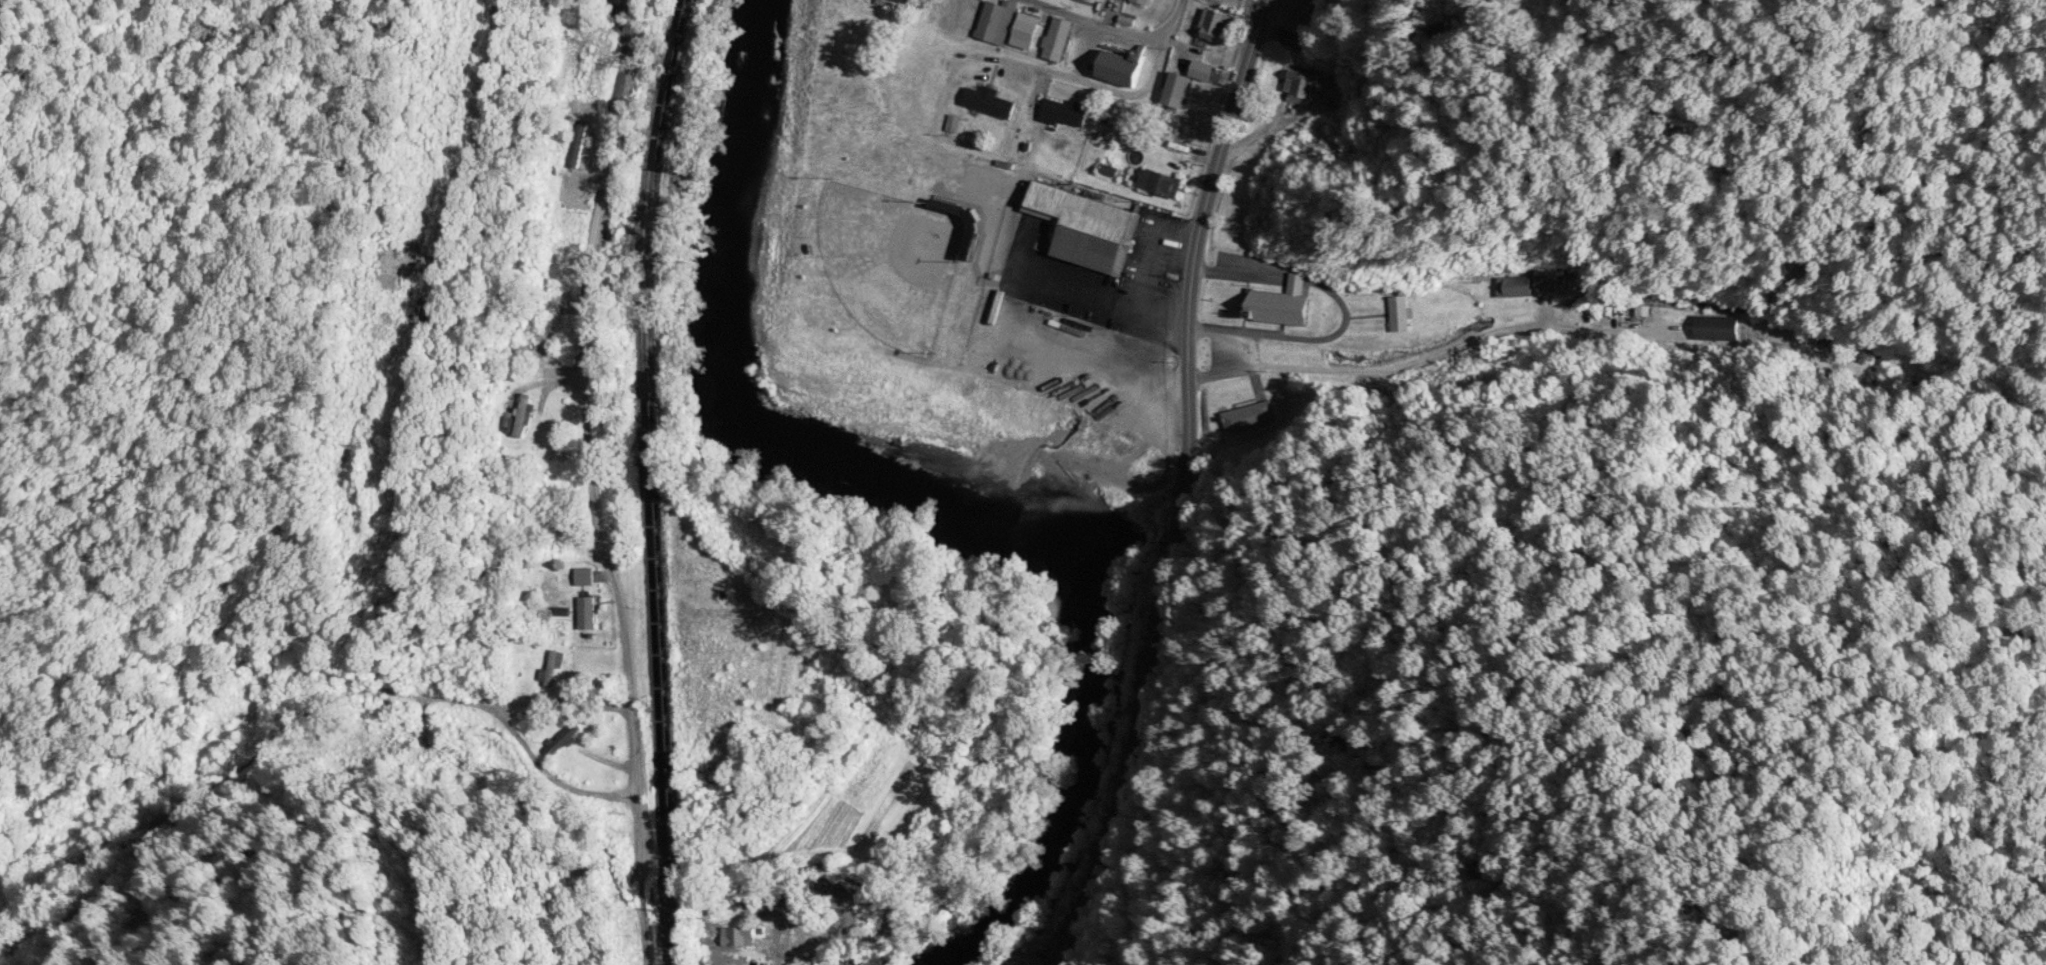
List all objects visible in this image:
building: (907, 1)
building: (1142, 2)
building: (1301, 6)
building: (1113, 9)
building: (1217, 26)
road: (1107, 29)
building: (1190, 29)
building: (1027, 30)
building: (1059, 39)
building: (1294, 39)
building: (1123, 68)
building: (590, 71)
building: (1181, 81)
building: (1301, 81)
road: (1099, 87)
building: (989, 101)
building: (1065, 112)
building: (1090, 227)
building: (1535, 285)
road: (1345, 309)
building: (1400, 314)
building: (1715, 330)
road: (1424, 357)
building: (1248, 418)
building: (521, 419)
power tower: (369, 453)
railway: (628, 479)
road: (594, 483)
road: (1183, 487)
river: (911, 521)
building: (586, 577)
building: (587, 621)
road: (498, 718)
building: (740, 937)

